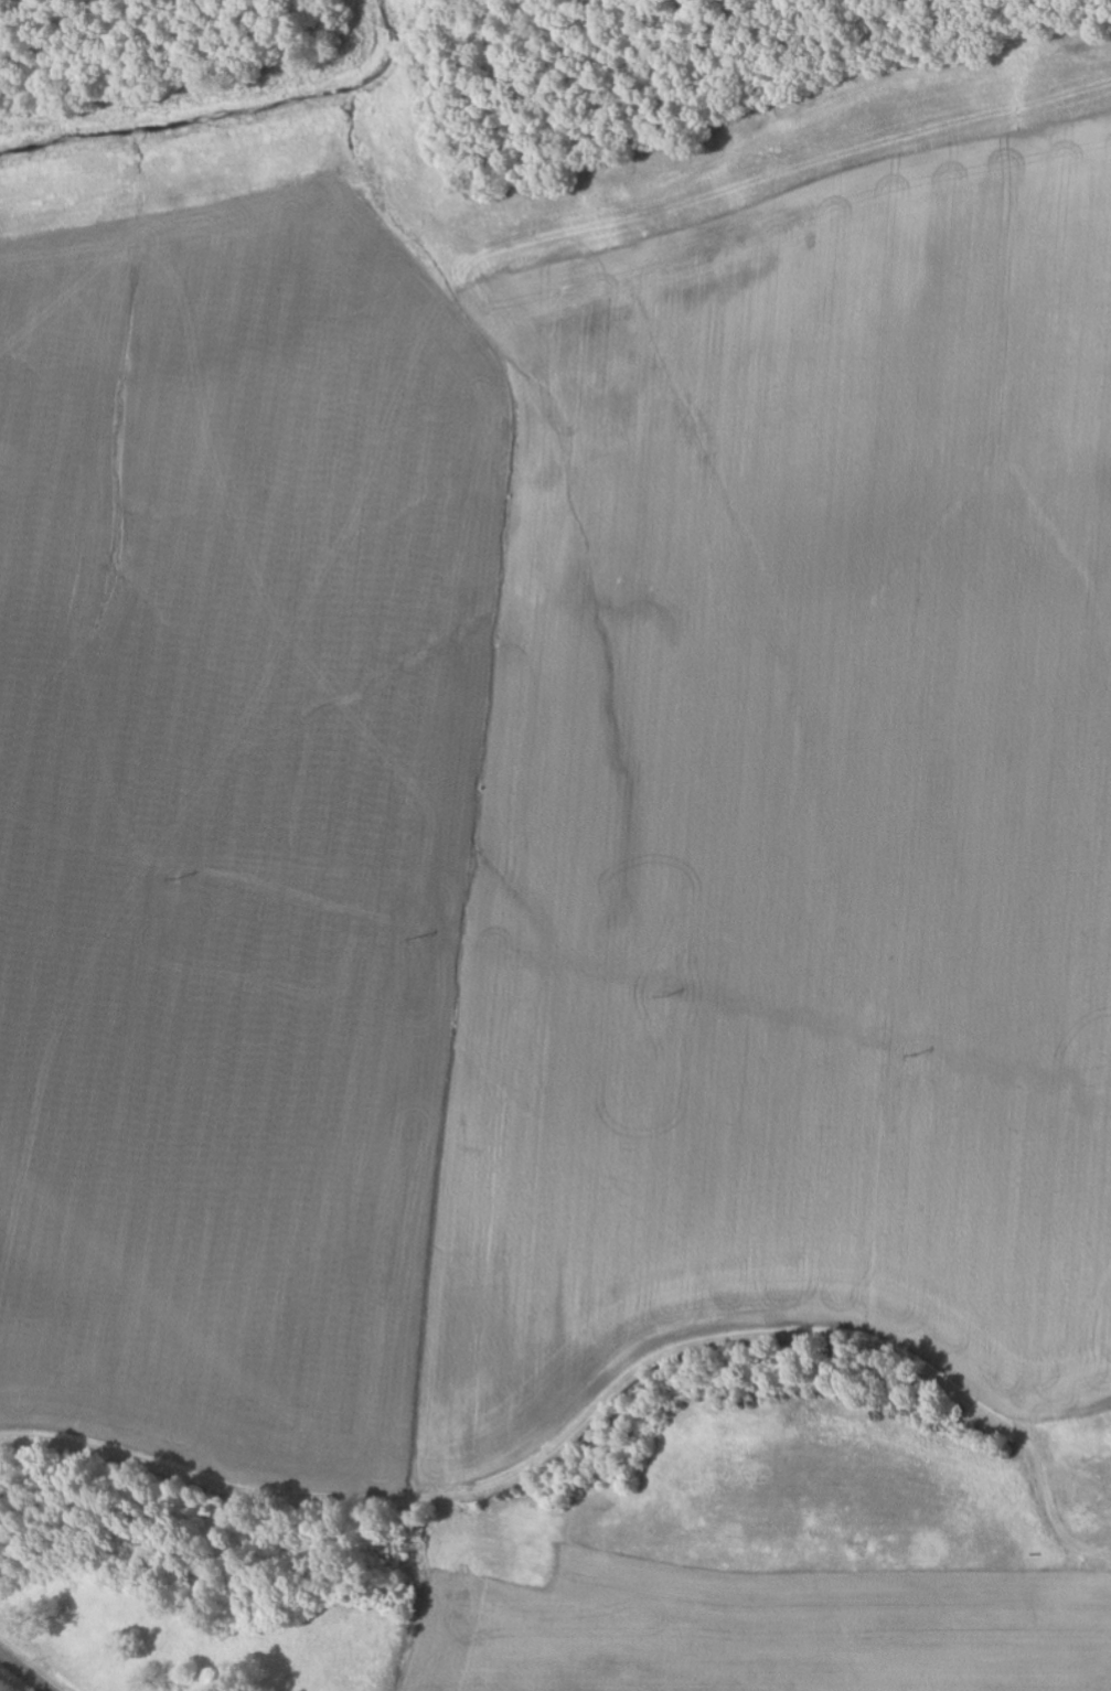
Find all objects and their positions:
road: (590, 191)
road: (23, 1671)

